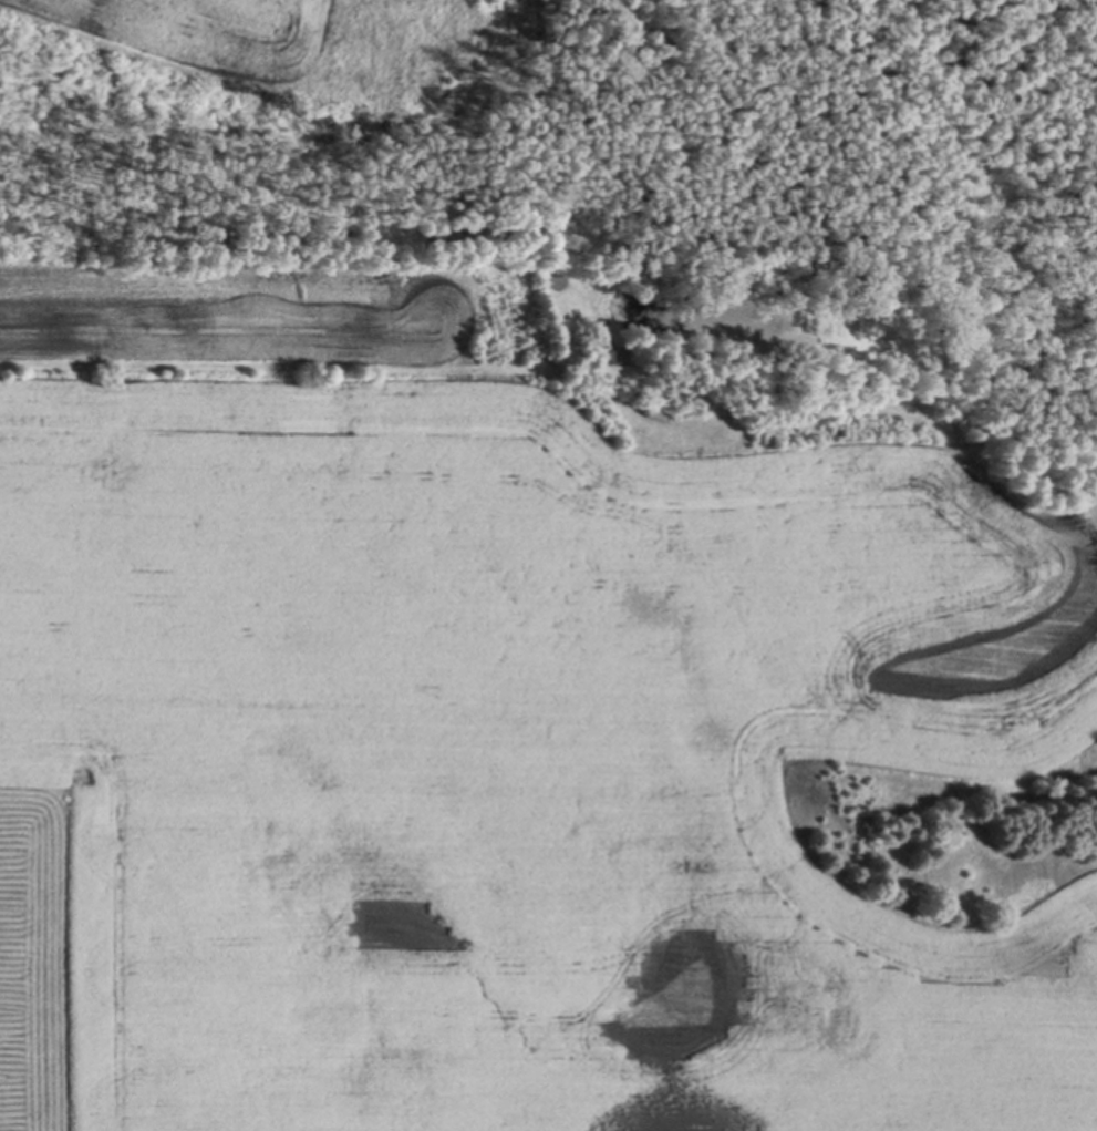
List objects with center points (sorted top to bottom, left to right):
building: (606, 354)
building: (646, 405)

